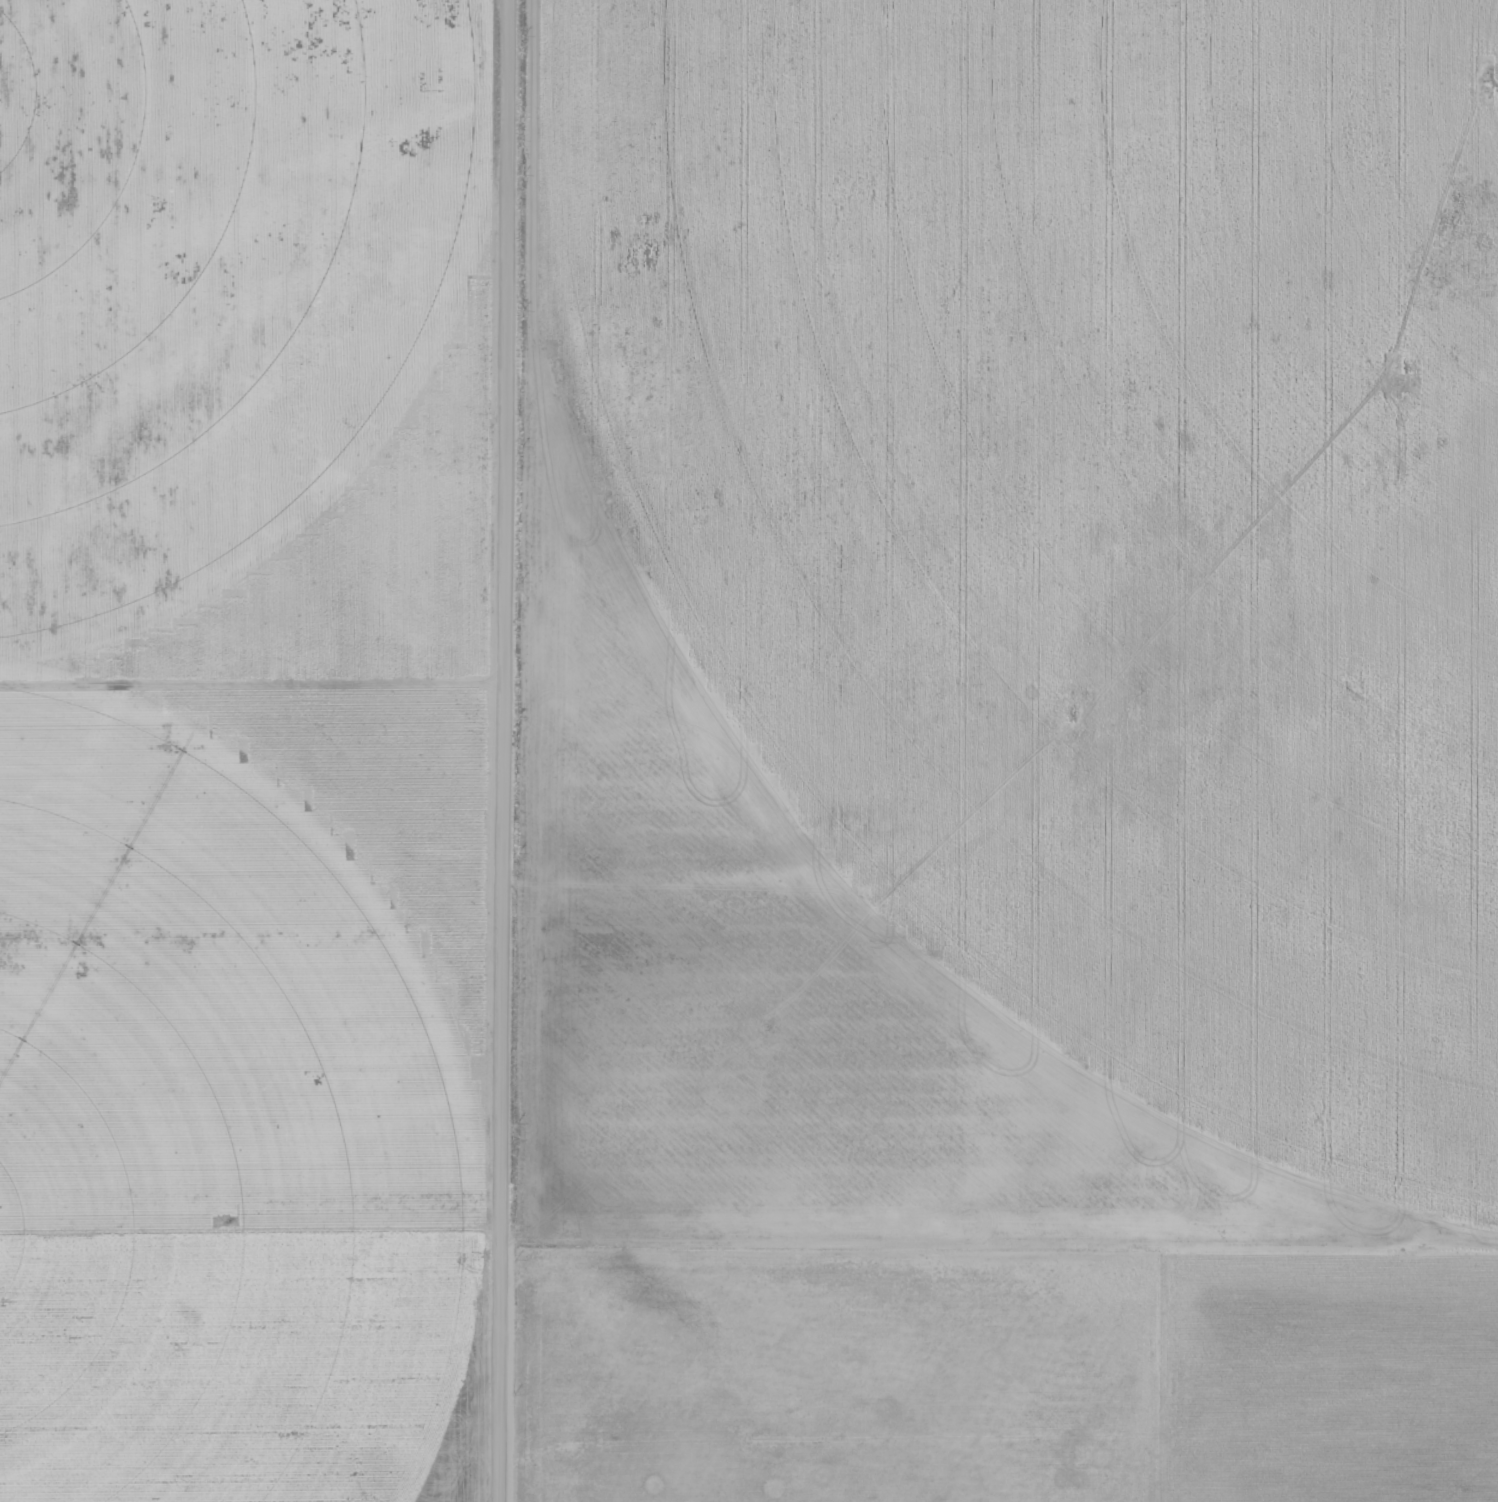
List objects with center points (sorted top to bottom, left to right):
road: (480, 750)
road: (239, 989)

